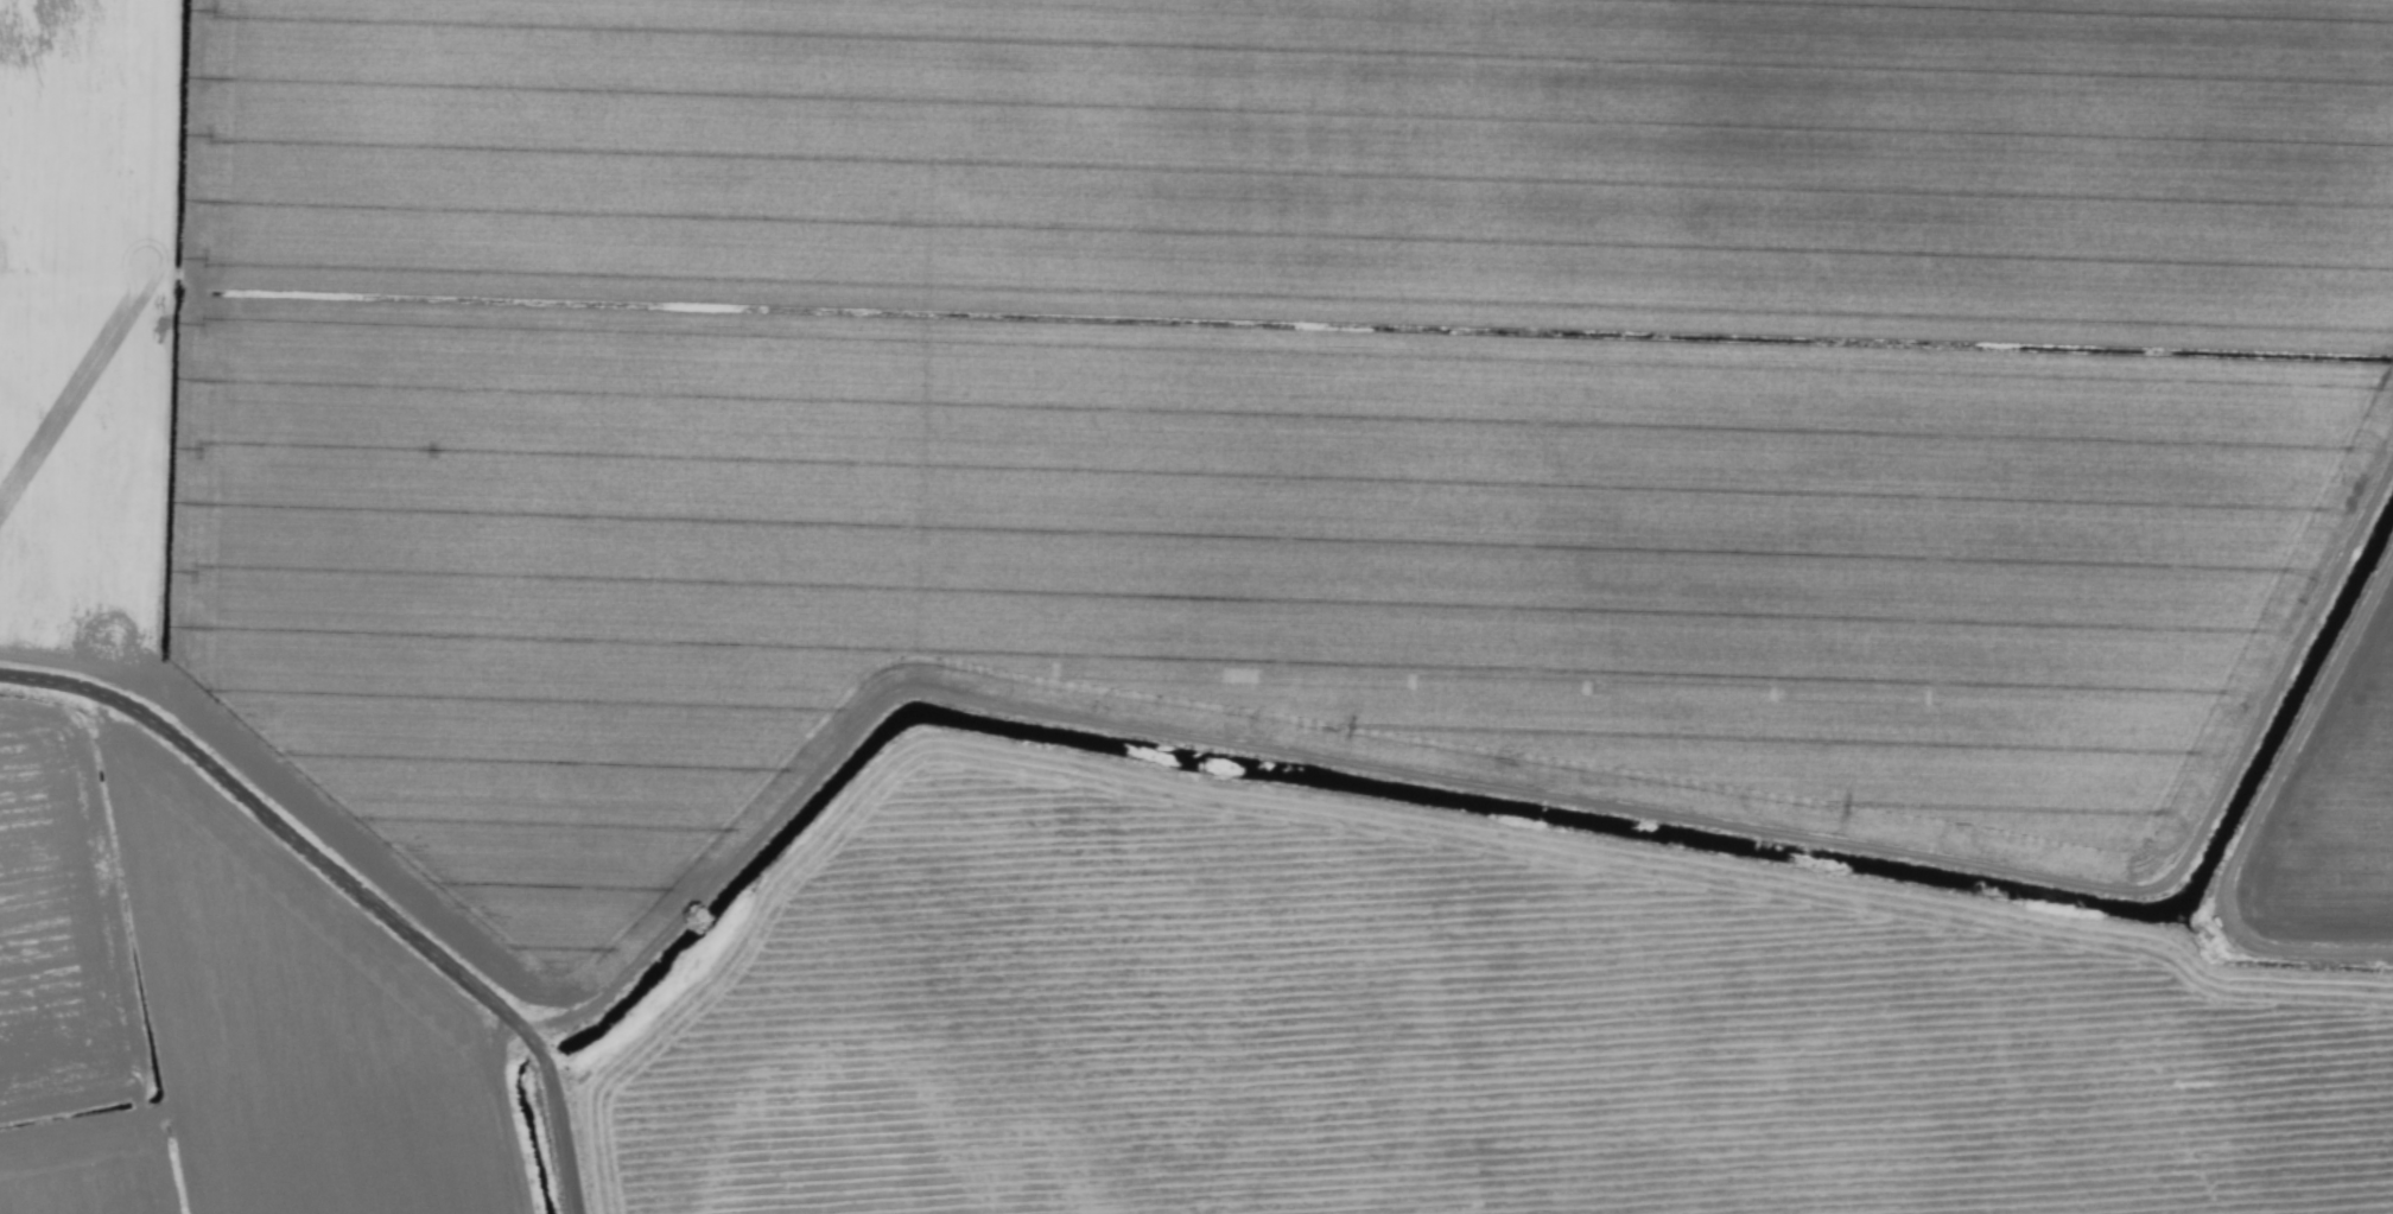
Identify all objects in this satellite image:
crop: (1196, 606)
road: (280, 827)
road: (561, 1124)

